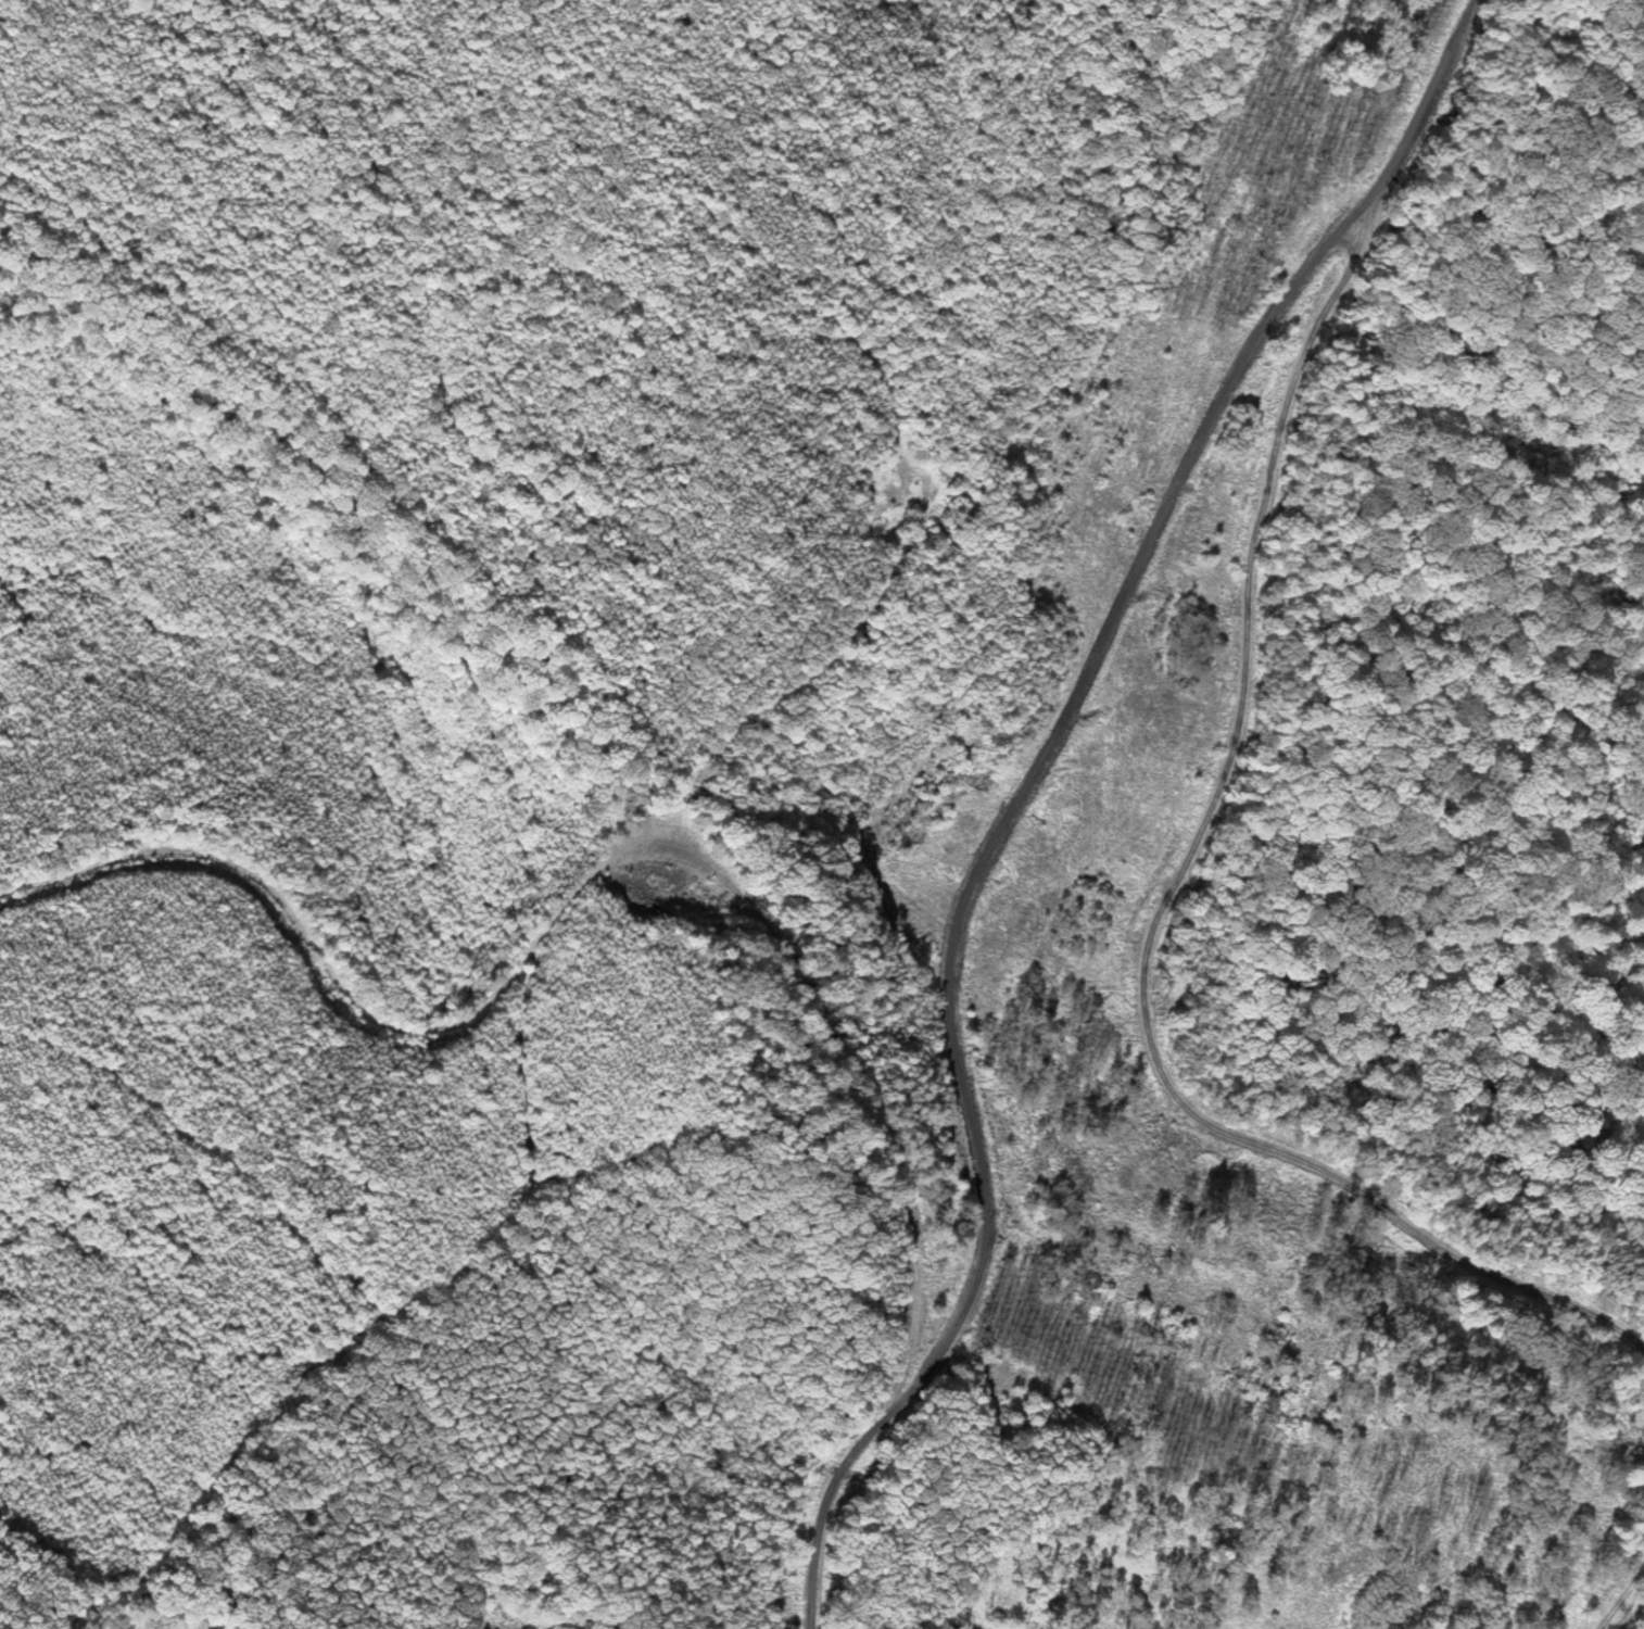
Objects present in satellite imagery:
road: (981, 559)
road: (1273, 711)
road: (954, 998)
road: (1523, 1159)
road: (884, 1376)
road: (317, 1579)
road: (1559, 1596)

